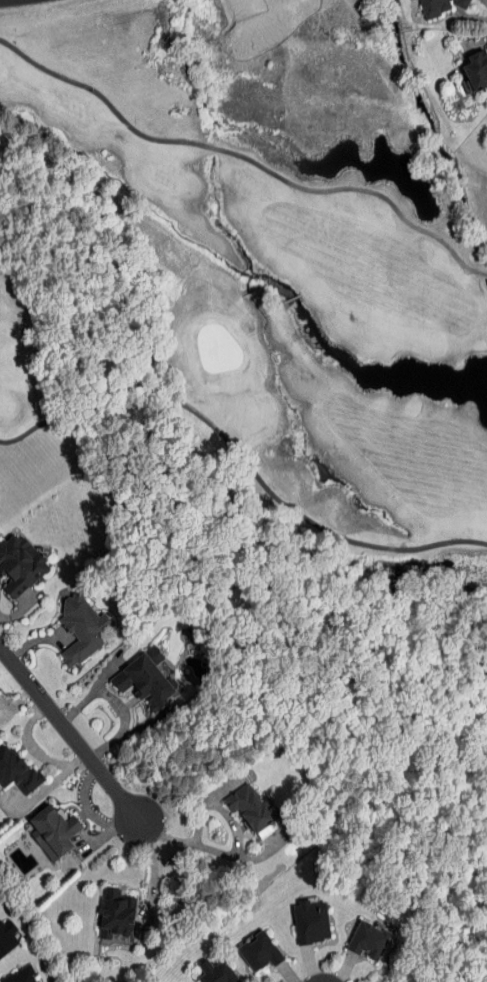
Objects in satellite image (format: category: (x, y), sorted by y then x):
road: (484, 2)
building: (439, 6)
road: (474, 44)
building: (477, 69)
park: (249, 271)
building: (20, 564)
building: (81, 627)
building: (146, 679)
road: (71, 732)
building: (14, 770)
road: (220, 806)
building: (249, 807)
building: (53, 831)
road: (208, 849)
building: (116, 915)
building: (311, 922)
building: (7, 936)
building: (368, 940)
building: (259, 951)
road: (314, 969)
building: (216, 972)
road: (341, 972)
building: (21, 975)
road: (294, 978)

